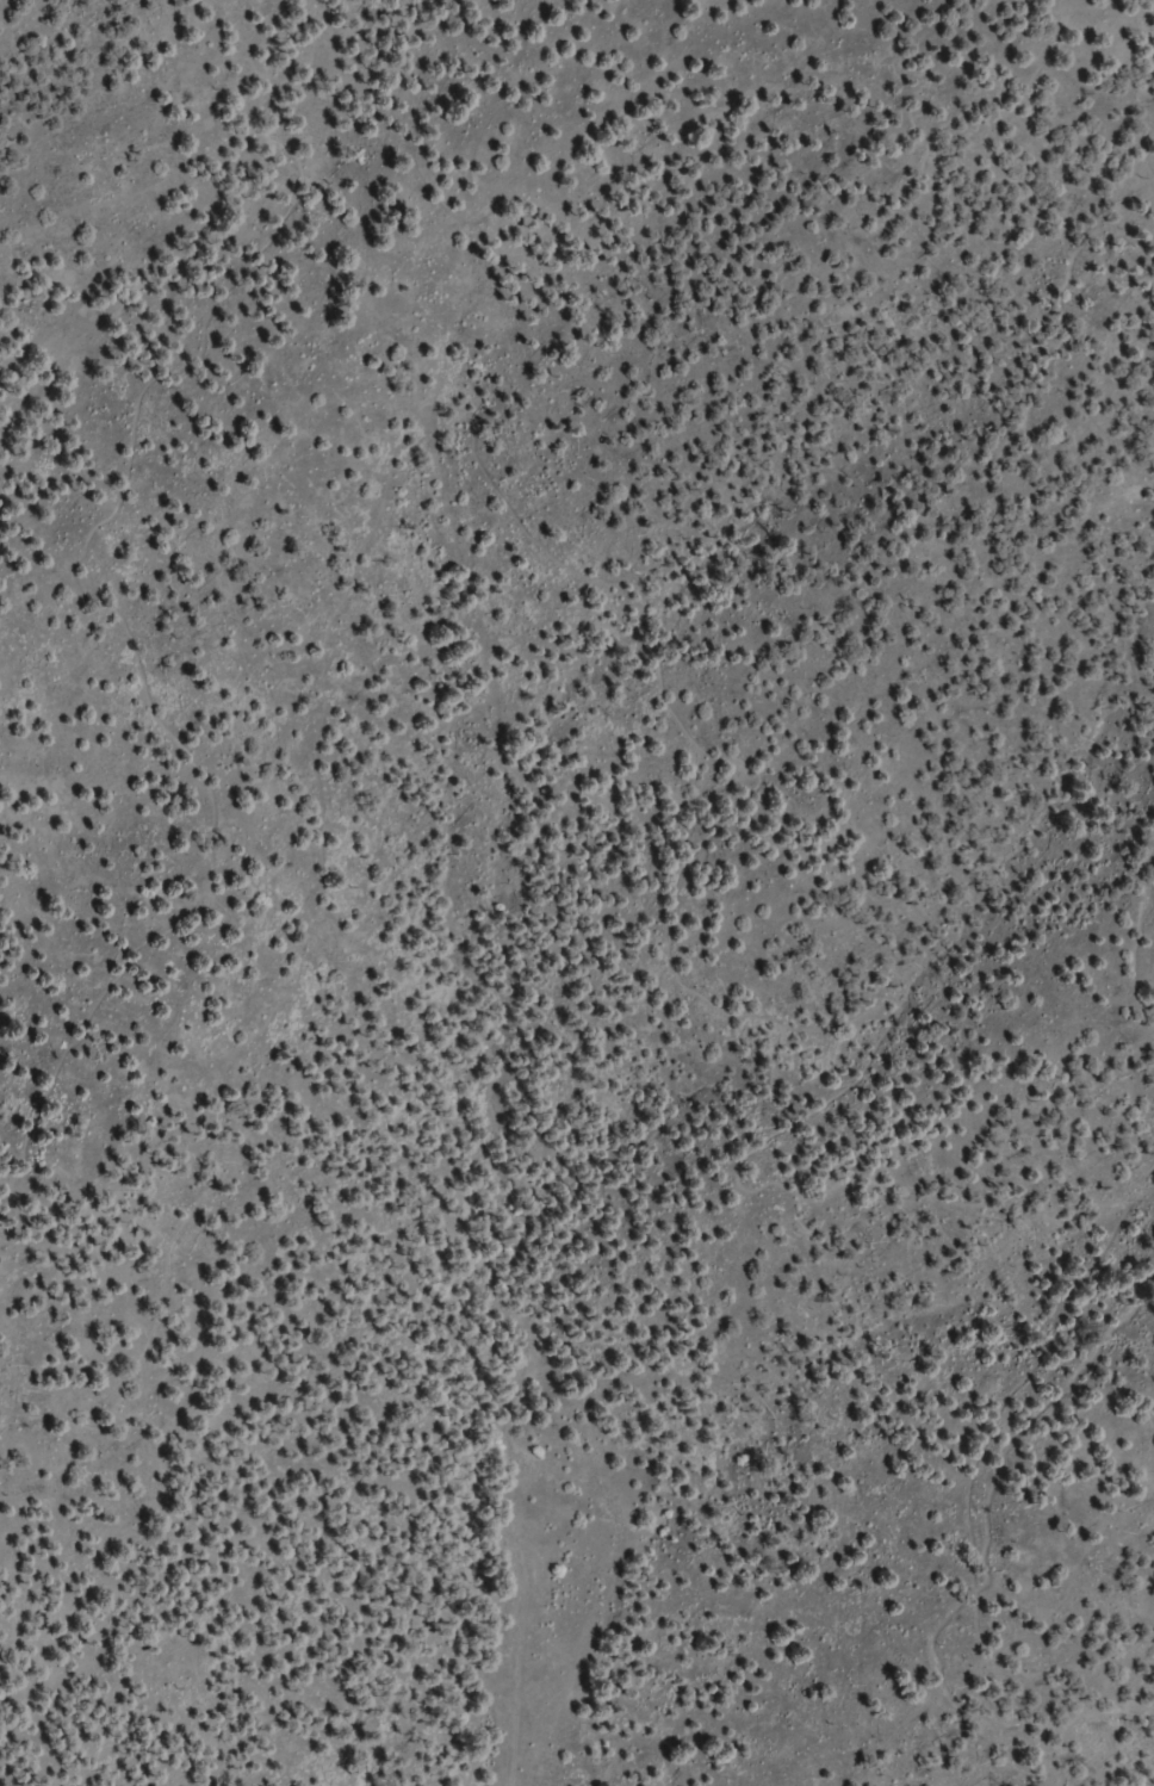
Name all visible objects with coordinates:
road: (1117, 75)
road: (186, 194)
road: (581, 913)
road: (820, 1425)
road: (560, 1701)

